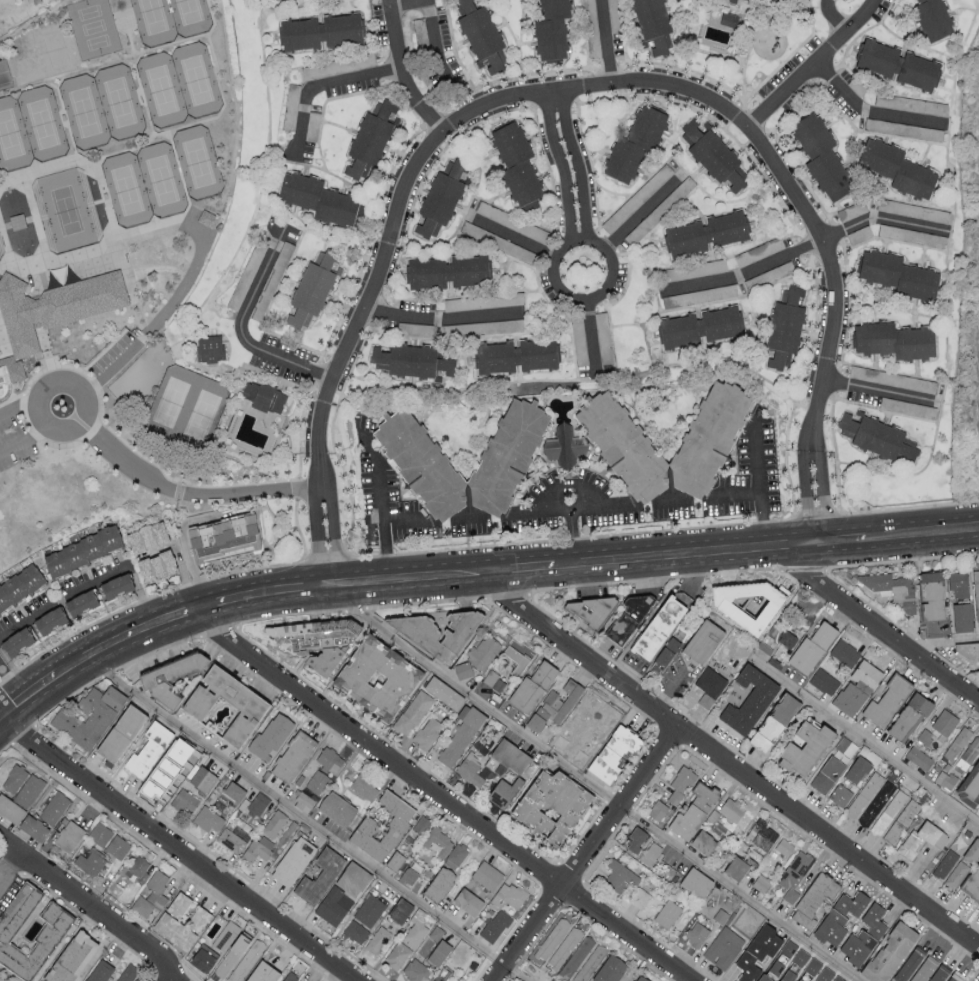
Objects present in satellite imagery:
building: (729, 0)
road: (407, 2)
building: (786, 2)
building: (614, 15)
road: (835, 15)
park: (190, 17)
building: (932, 18)
building: (728, 19)
park: (154, 22)
building: (652, 24)
park: (93, 28)
building: (550, 29)
building: (419, 30)
building: (322, 31)
building: (481, 35)
road: (129, 37)
road: (436, 44)
road: (606, 45)
road: (122, 58)
road: (128, 62)
building: (896, 64)
road: (817, 65)
building: (3, 67)
road: (404, 73)
park: (196, 80)
road: (61, 81)
road: (321, 83)
road: (627, 88)
park: (162, 90)
road: (142, 95)
park: (120, 102)
building: (290, 106)
building: (936, 107)
road: (871, 111)
park: (85, 112)
road: (65, 117)
building: (313, 119)
park: (43, 124)
road: (192, 124)
building: (903, 129)
park: (13, 138)
building: (369, 139)
building: (634, 144)
building: (713, 155)
building: (820, 155)
park: (198, 162)
building: (516, 163)
road: (65, 164)
road: (572, 167)
building: (896, 168)
park: (162, 180)
road: (13, 185)
park: (127, 190)
building: (441, 197)
building: (319, 199)
road: (187, 208)
building: (859, 208)
building: (910, 210)
park: (66, 211)
road: (642, 212)
building: (497, 214)
road: (882, 216)
building: (208, 220)
building: (16, 221)
road: (19, 222)
building: (704, 233)
building: (859, 234)
road: (513, 235)
building: (911, 235)
building: (498, 242)
park: (1, 249)
road: (8, 250)
building: (284, 254)
road: (608, 256)
road: (6, 268)
building: (446, 271)
building: (778, 271)
road: (745, 272)
building: (246, 275)
building: (896, 275)
building: (310, 290)
building: (701, 295)
building: (504, 298)
building: (461, 303)
park: (969, 310)
building: (50, 314)
road: (440, 321)
building: (500, 326)
building: (699, 327)
building: (784, 327)
road: (241, 328)
building: (415, 329)
building: (603, 337)
road: (592, 339)
building: (893, 340)
building: (579, 341)
road: (3, 343)
building: (209, 348)
building: (514, 356)
building: (410, 360)
road: (111, 368)
building: (903, 381)
road: (76, 386)
road: (880, 388)
building: (264, 397)
building: (0, 403)
road: (19, 404)
building: (908, 407)
park: (186, 409)
building: (877, 436)
road: (24, 440)
building: (564, 446)
building: (624, 446)
building: (421, 463)
road: (759, 481)
road: (189, 492)
road: (714, 495)
road: (594, 497)
road: (381, 503)
road: (585, 506)
road: (482, 515)
road: (405, 517)
road: (571, 517)
road: (929, 529)
road: (325, 534)
road: (182, 536)
building: (145, 537)
building: (222, 537)
road: (837, 538)
building: (81, 550)
road: (685, 551)
road: (531, 565)
building: (155, 566)
building: (958, 584)
building: (19, 585)
road: (90, 586)
building: (115, 586)
building: (892, 588)
building: (975, 588)
road: (263, 590)
building: (931, 593)
building: (747, 600)
building: (80, 602)
building: (591, 608)
building: (961, 615)
building: (629, 617)
building: (48, 618)
building: (658, 626)
road: (878, 629)
road: (218, 630)
building: (439, 630)
road: (73, 633)
building: (315, 638)
building: (15, 640)
building: (703, 640)
road: (944, 642)
building: (811, 646)
building: (968, 649)
road: (156, 650)
building: (667, 650)
building: (483, 652)
building: (844, 652)
building: (518, 656)
road: (14, 669)
building: (462, 669)
road: (109, 672)
building: (167, 674)
building: (376, 675)
building: (493, 680)
building: (824, 681)
road: (10, 682)
road: (34, 685)
building: (532, 686)
building: (709, 686)
building: (856, 687)
building: (444, 692)
road: (669, 693)
building: (748, 698)
building: (886, 700)
building: (248, 702)
building: (554, 707)
road: (8, 708)
building: (412, 711)
road: (1, 714)
building: (908, 715)
building: (88, 716)
building: (592, 719)
building: (773, 720)
building: (938, 727)
road: (24, 731)
building: (118, 731)
building: (427, 732)
building: (270, 734)
building: (460, 735)
road: (866, 739)
building: (957, 743)
road: (5, 746)
building: (803, 746)
building: (846, 746)
building: (147, 748)
building: (612, 751)
building: (969, 753)
building: (292, 756)
building: (509, 756)
building: (918, 757)
road: (728, 763)
building: (323, 764)
building: (469, 769)
building: (857, 769)
building: (827, 774)
building: (200, 777)
building: (945, 779)
building: (158, 780)
building: (971, 782)
building: (22, 784)
building: (680, 784)
building: (364, 785)
road: (595, 785)
building: (232, 789)
building: (502, 790)
building: (704, 795)
building: (840, 795)
road: (442, 796)
building: (870, 799)
building: (184, 800)
building: (257, 804)
building: (552, 805)
building: (54, 807)
building: (336, 807)
building: (732, 808)
building: (10, 809)
building: (657, 810)
building: (895, 816)
road: (306, 817)
building: (207, 818)
building: (443, 820)
building: (686, 820)
building: (274, 823)
building: (419, 825)
building: (33, 826)
road: (179, 827)
building: (394, 827)
building: (99, 833)
building: (762, 834)
building: (68, 835)
road: (2, 837)
building: (232, 837)
road: (11, 838)
building: (920, 839)
building: (636, 840)
building: (438, 841)
building: (702, 841)
building: (117, 846)
building: (784, 846)
road: (179, 848)
building: (258, 848)
building: (971, 850)
road: (583, 852)
building: (651, 853)
road: (13, 855)
building: (455, 855)
building: (393, 859)
building: (291, 860)
building: (90, 861)
road: (171, 862)
building: (945, 863)
road: (9, 864)
building: (735, 866)
building: (139, 867)
building: (956, 873)
building: (794, 874)
building: (319, 875)
building: (487, 875)
building: (408, 876)
building: (620, 877)
building: (695, 881)
building: (760, 882)
building: (972, 882)
building: (439, 883)
building: (341, 892)
building: (151, 894)
building: (508, 895)
building: (639, 897)
building: (813, 899)
building: (467, 900)
building: (852, 903)
building: (369, 909)
building: (399, 910)
road: (103, 911)
building: (667, 913)
building: (197, 918)
building: (749, 919)
building: (174, 922)
road: (95, 923)
building: (495, 925)
building: (831, 926)
building: (416, 929)
building: (50, 930)
building: (355, 931)
building: (696, 933)
building: (864, 935)
building: (552, 938)
building: (376, 939)
building: (435, 946)
building: (564, 947)
building: (723, 947)
building: (789, 947)
building: (213, 948)
building: (757, 951)
building: (889, 952)
building: (233, 953)
building: (397, 954)
building: (801, 956)
building: (69, 957)
building: (576, 957)
road: (164, 960)
building: (246, 961)
building: (590, 963)
building: (813, 965)
road: (184, 966)
building: (915, 966)
building: (776, 967)
building: (610, 969)
building: (415, 970)
building: (99, 971)
building: (126, 972)
building: (261, 972)
building: (790, 972)
building: (825, 973)
building: (939, 973)
building: (442, 975)
road: (158, 976)
building: (638, 977)
building: (954, 977)
building: (289, 978)
building: (763, 978)
building: (839, 978)
road: (168, 979)
building: (800, 979)

